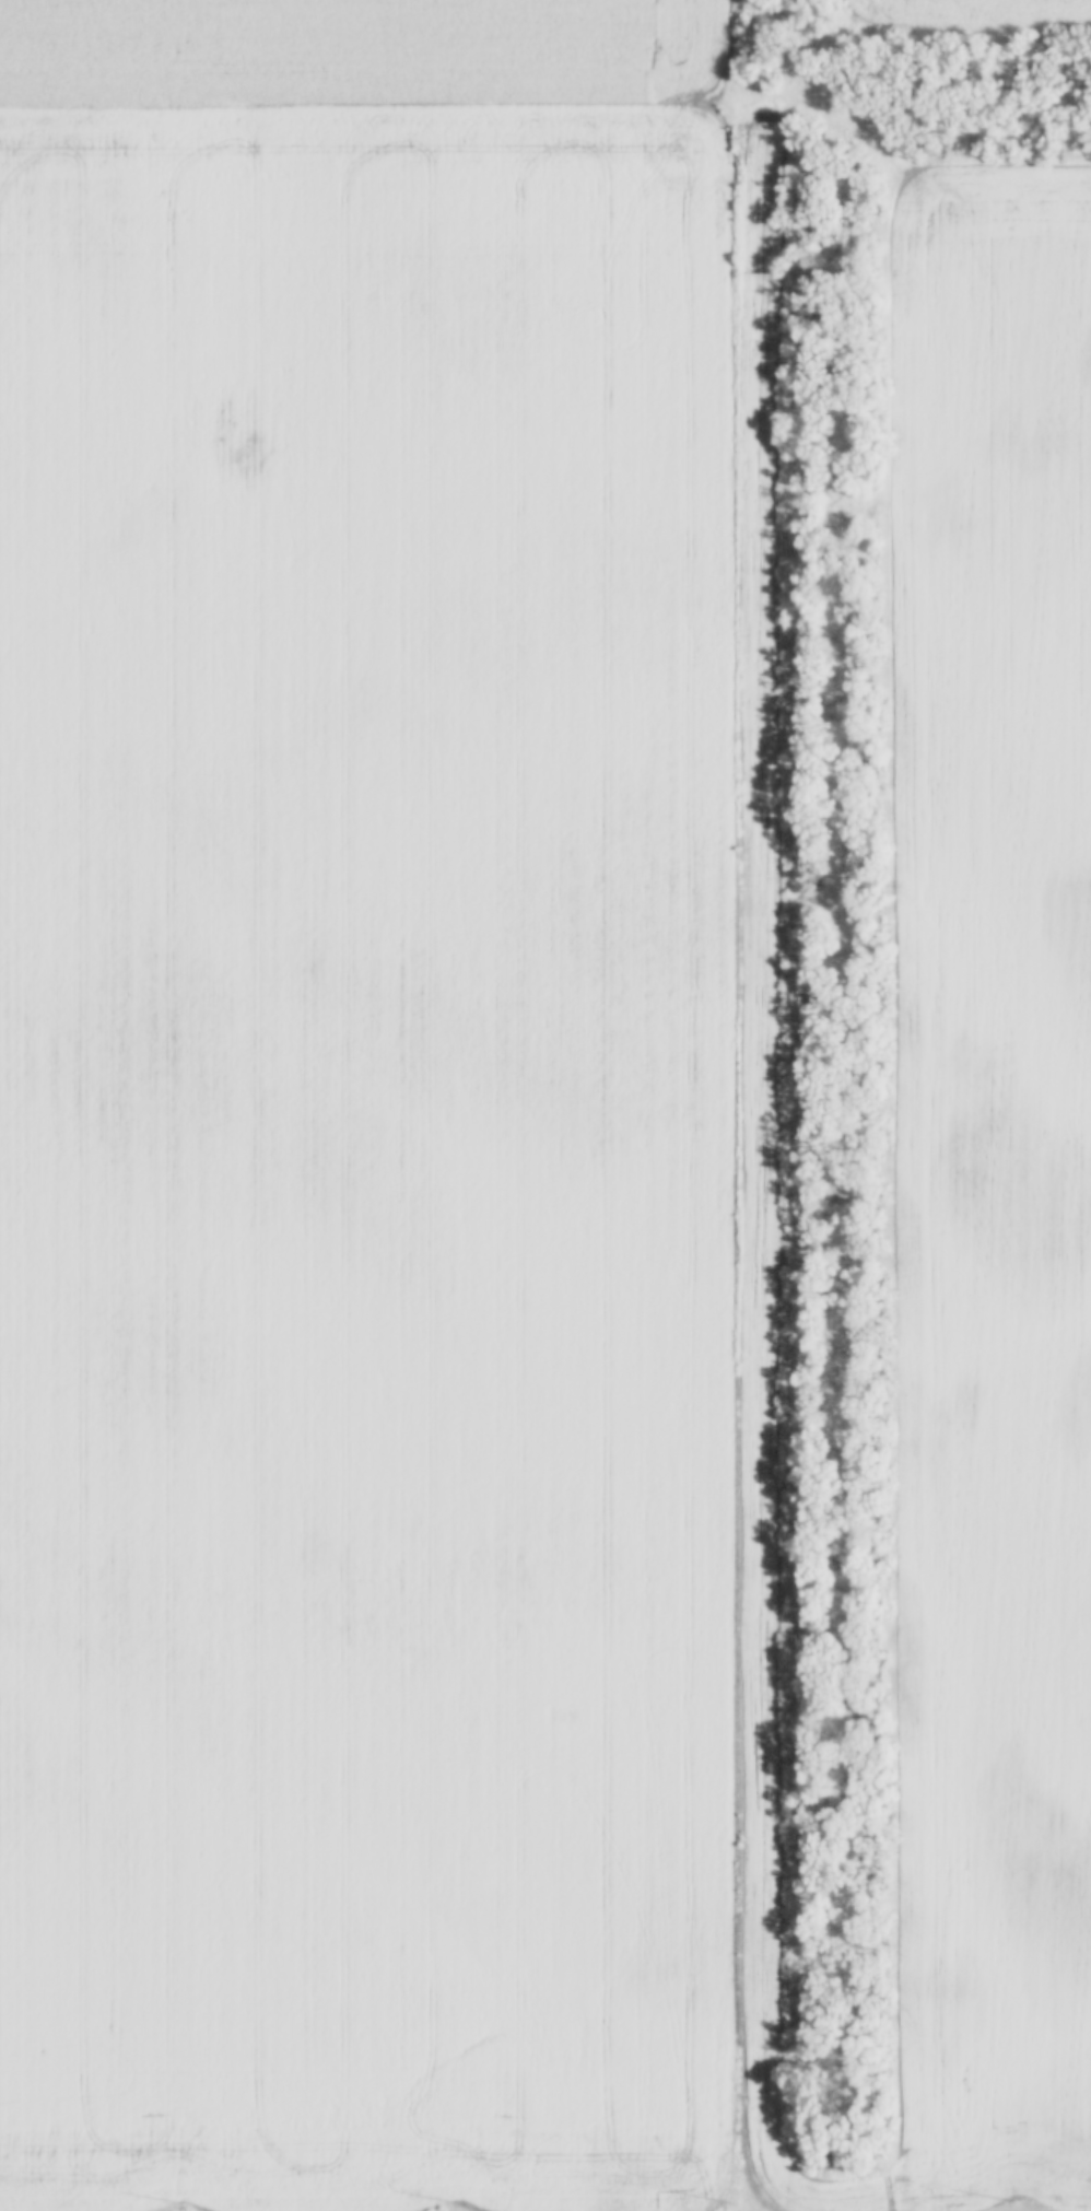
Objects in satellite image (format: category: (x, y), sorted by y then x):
crop: (1000, 4)
road: (473, 103)
crop: (364, 1105)
road: (740, 1153)
crop: (955, 1185)

